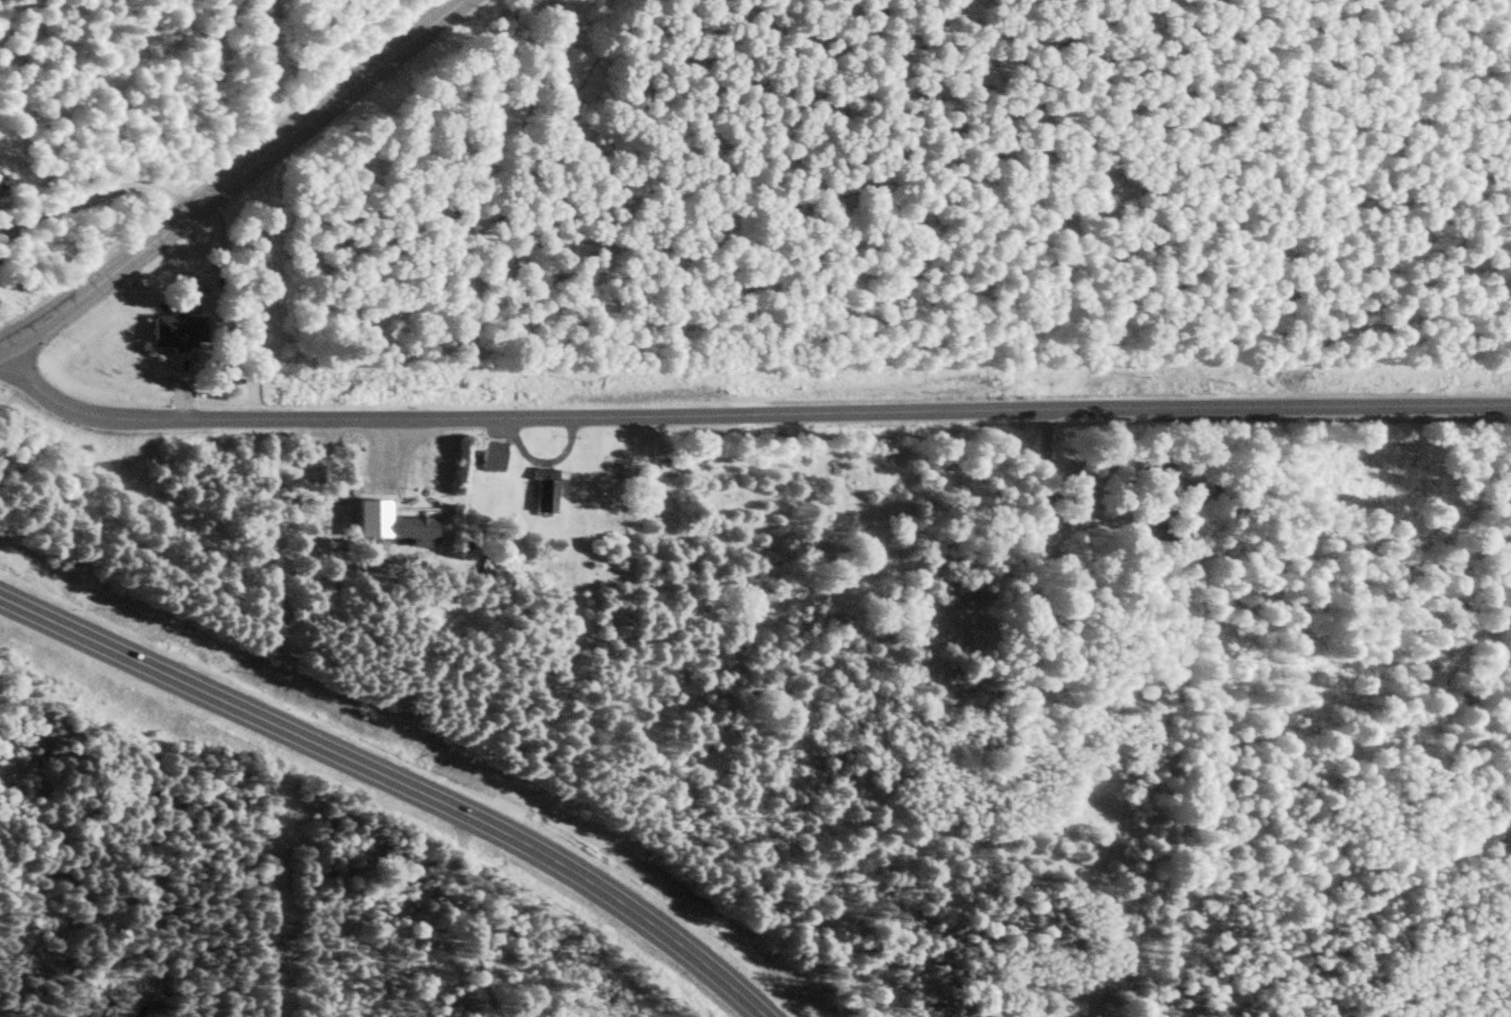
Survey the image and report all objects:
road: (1405, 84)
road: (231, 179)
road: (96, 197)
building: (178, 332)
road: (745, 415)
building: (492, 457)
building: (618, 465)
park: (1112, 488)
building: (543, 490)
building: (377, 528)
building: (415, 528)
road: (396, 781)
road: (467, 917)

